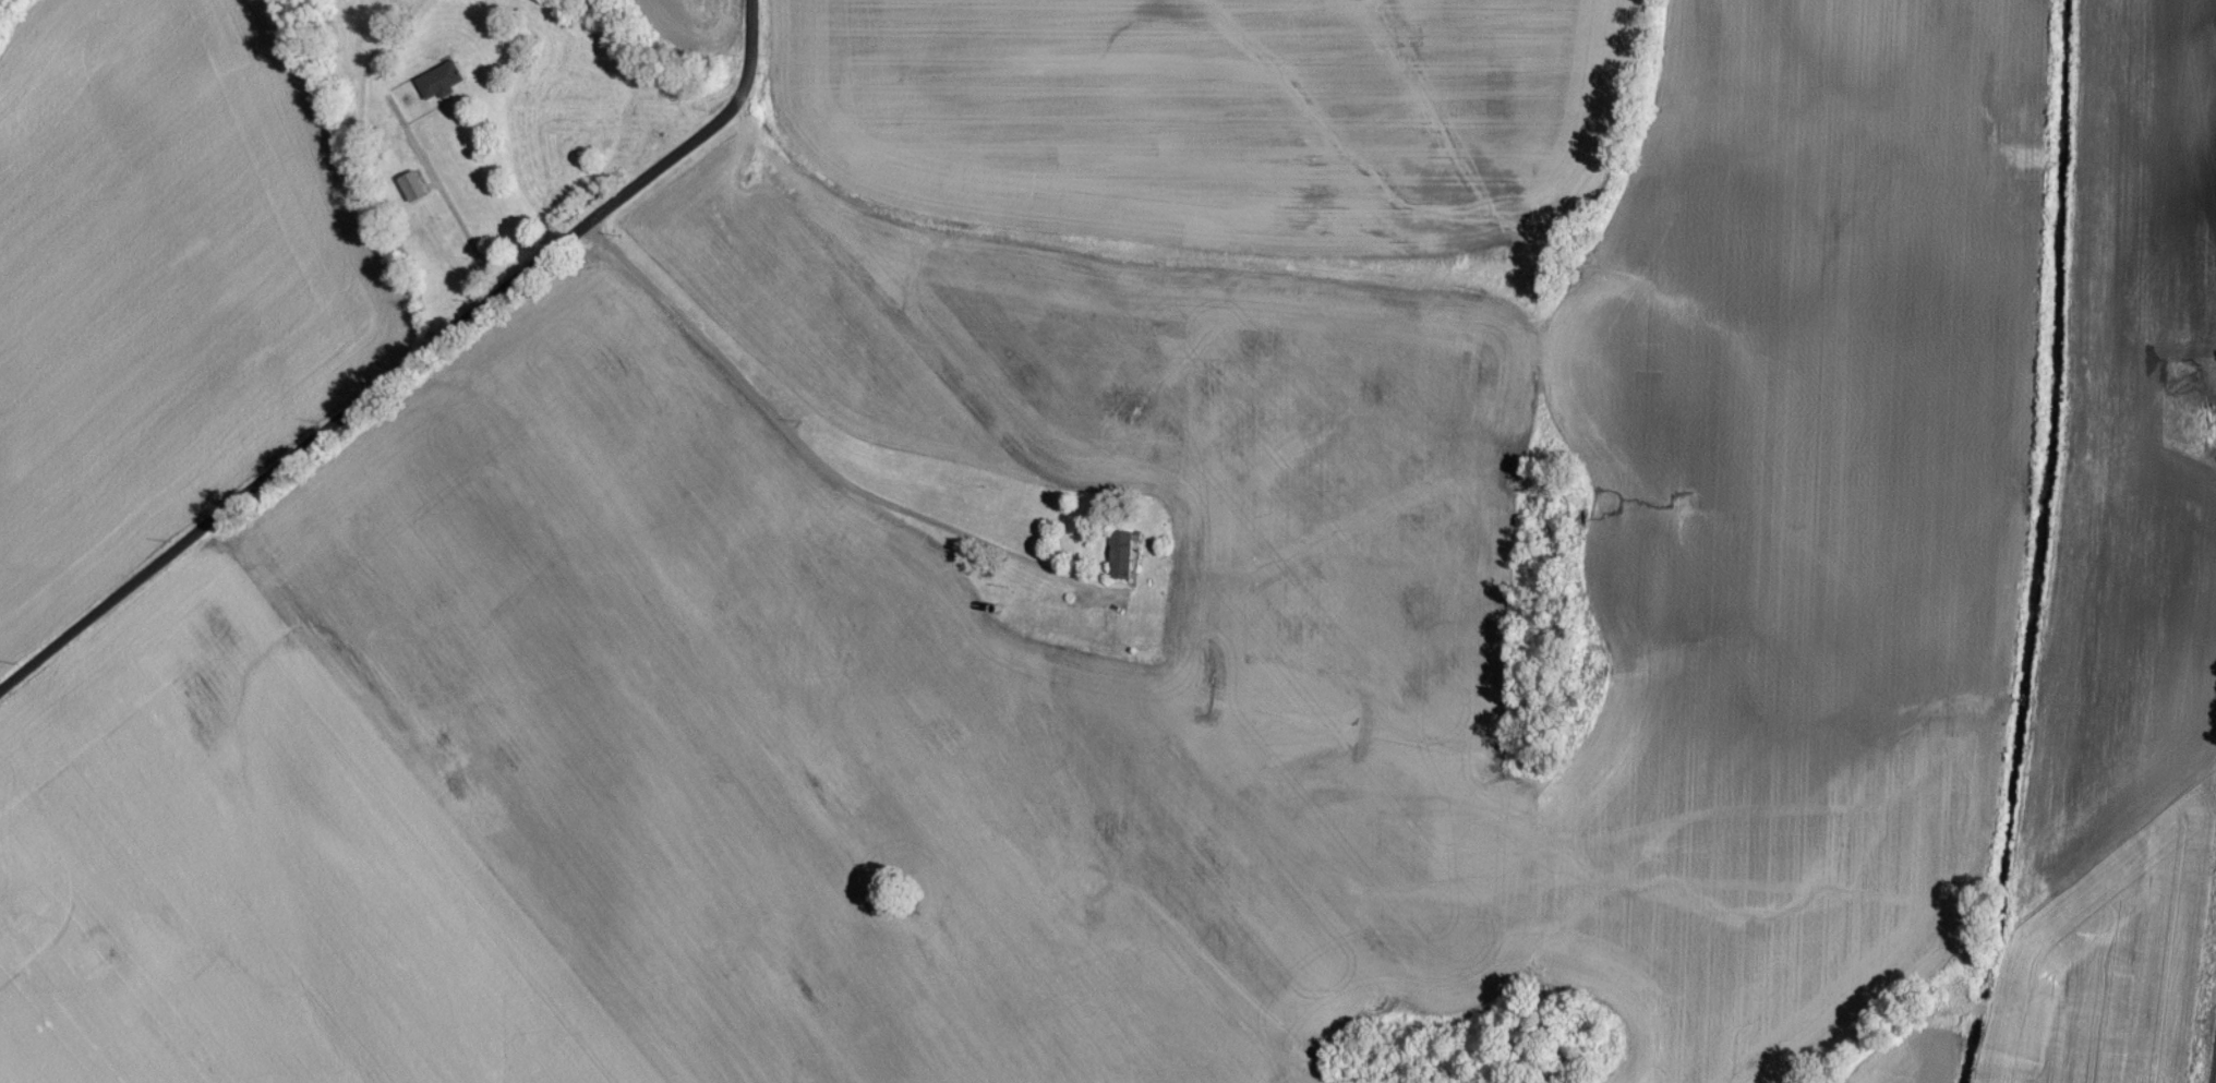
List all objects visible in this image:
building: (441, 89)
building: (413, 194)
road: (411, 373)
road: (808, 456)
building: (1121, 563)

